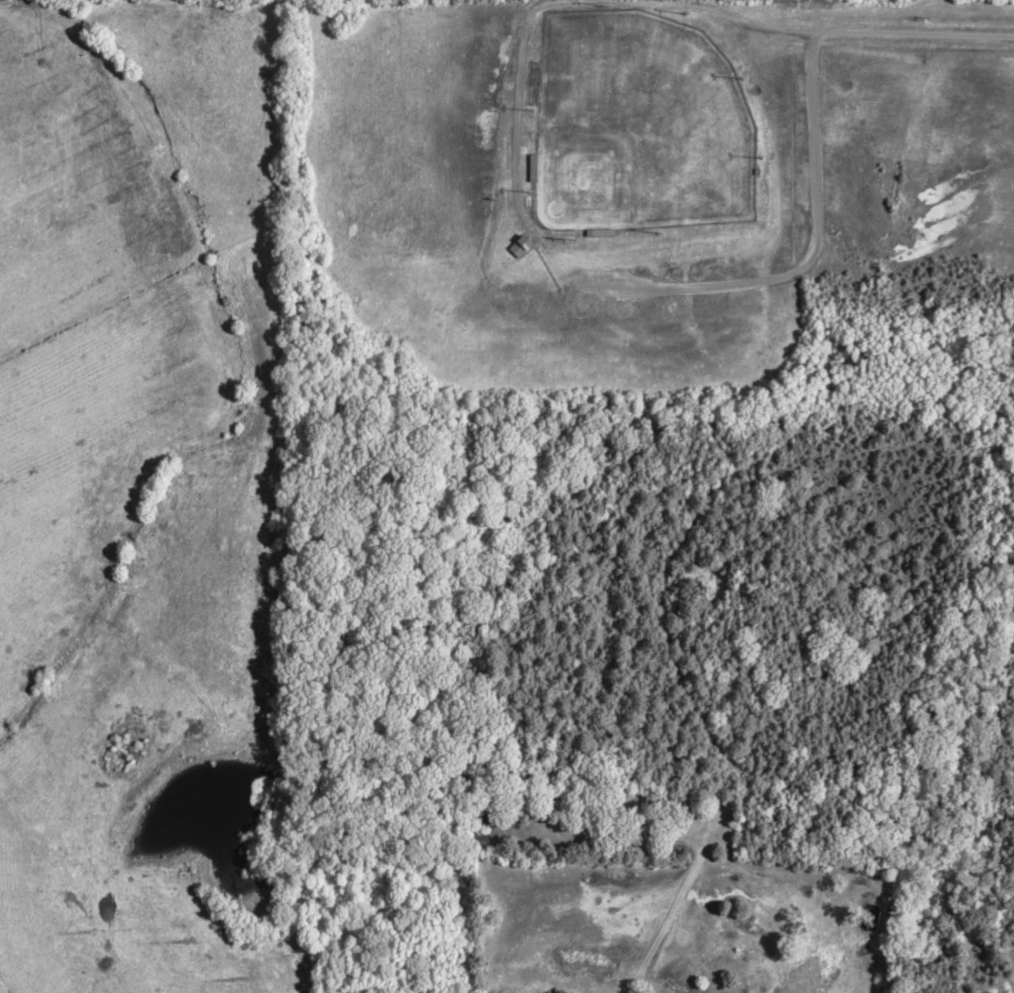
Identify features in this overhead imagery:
road: (844, 26)
park: (641, 127)
road: (819, 241)
building: (525, 249)

